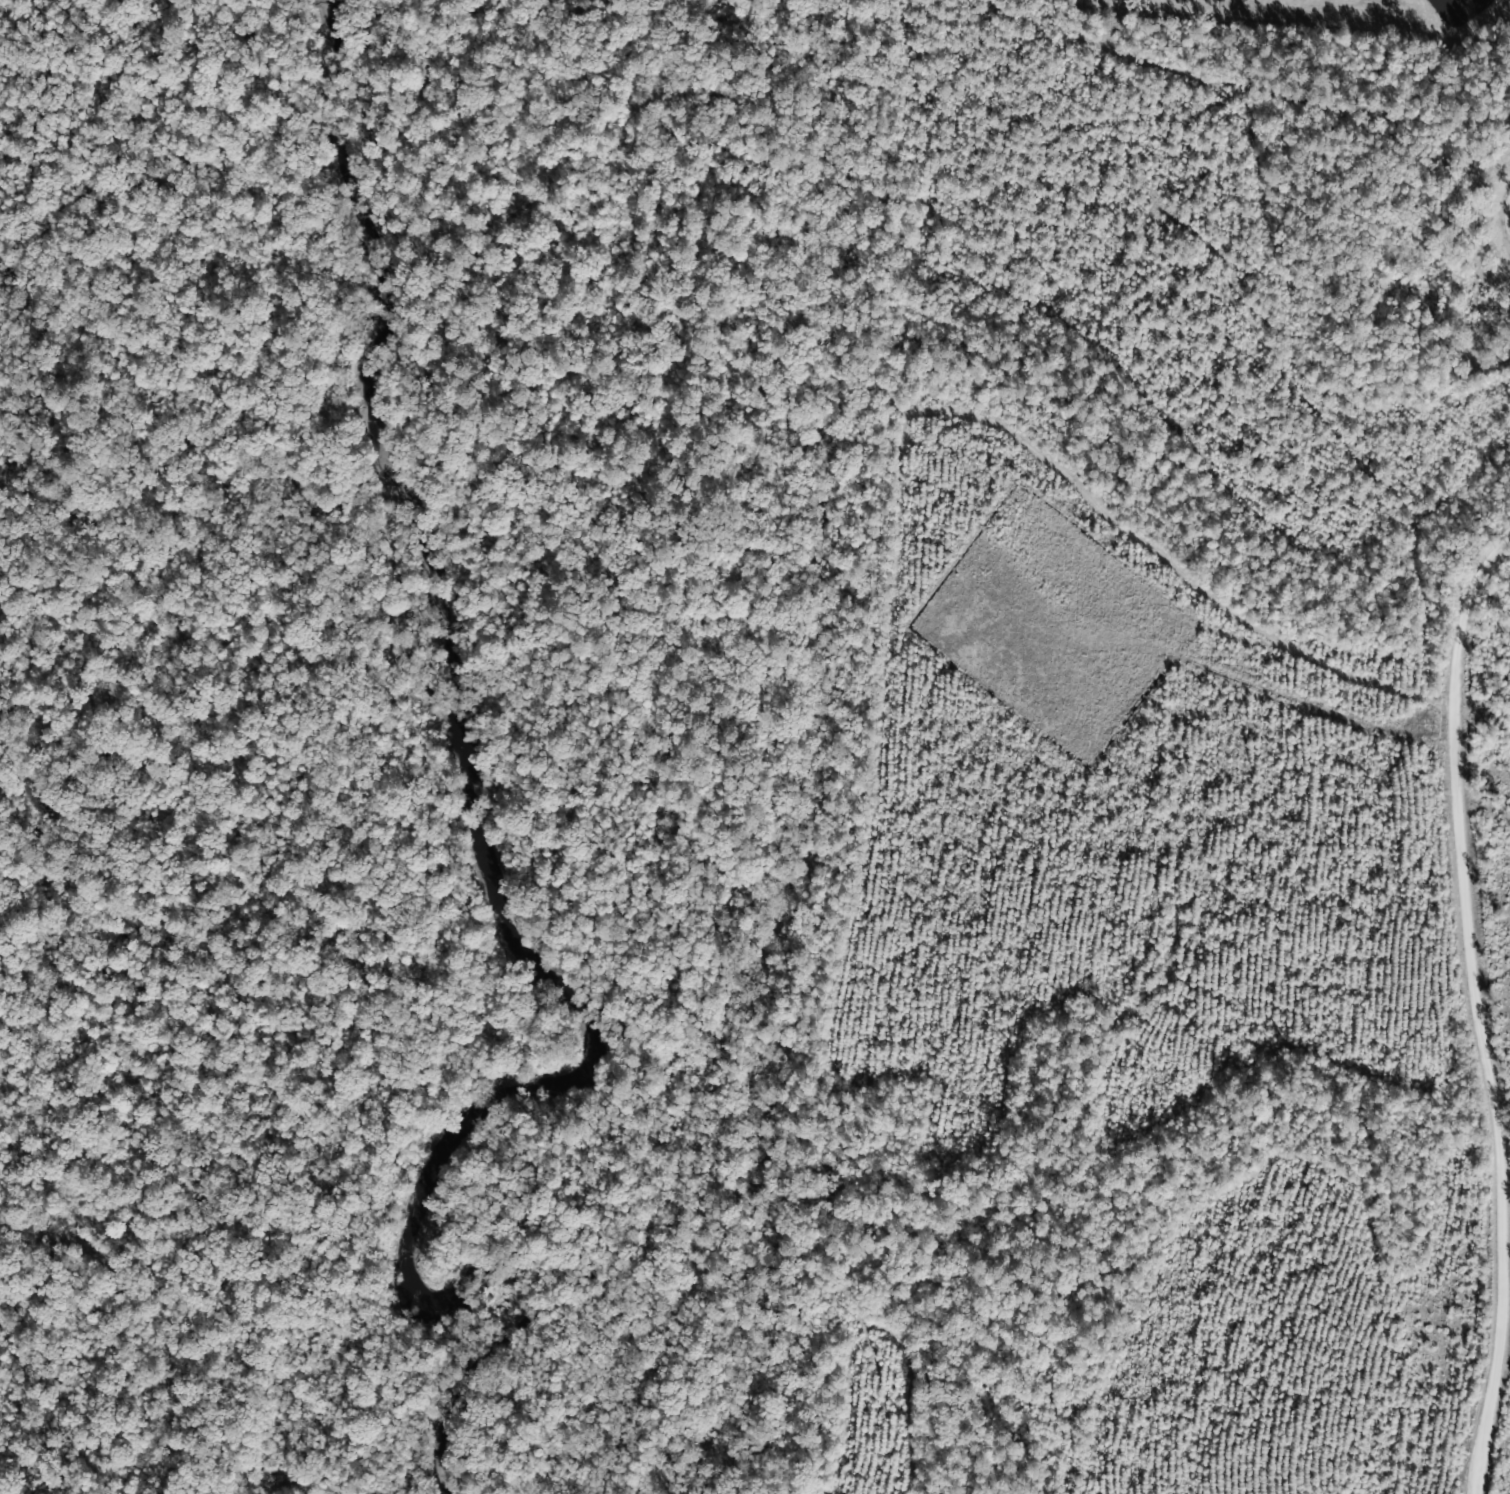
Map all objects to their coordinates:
road: (248, 1)
road: (1280, 99)
road: (1459, 807)
road: (1464, 1351)

